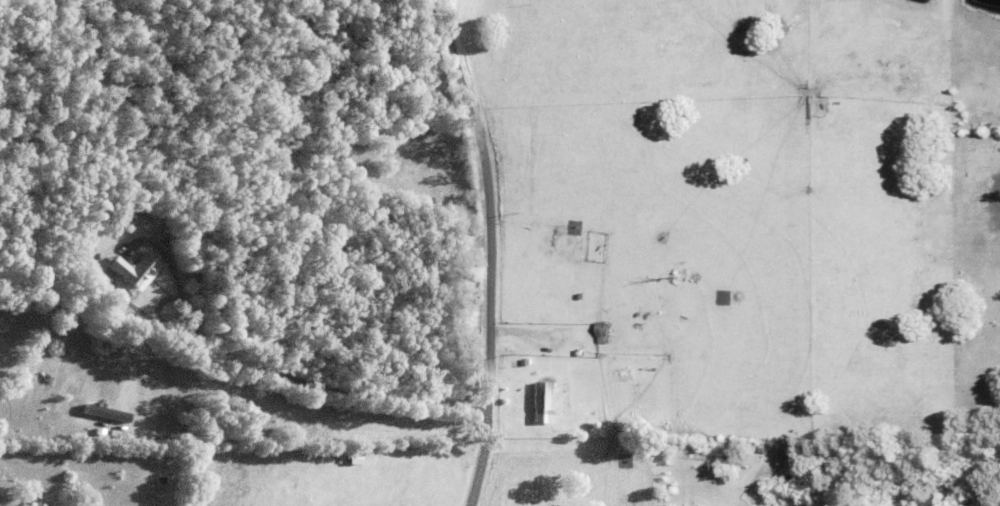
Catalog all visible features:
building: (570, 236)
building: (172, 240)
road: (489, 250)
building: (137, 270)
building: (601, 333)
building: (524, 349)
building: (574, 353)
building: (525, 362)
building: (640, 397)
building: (544, 402)
building: (108, 412)

